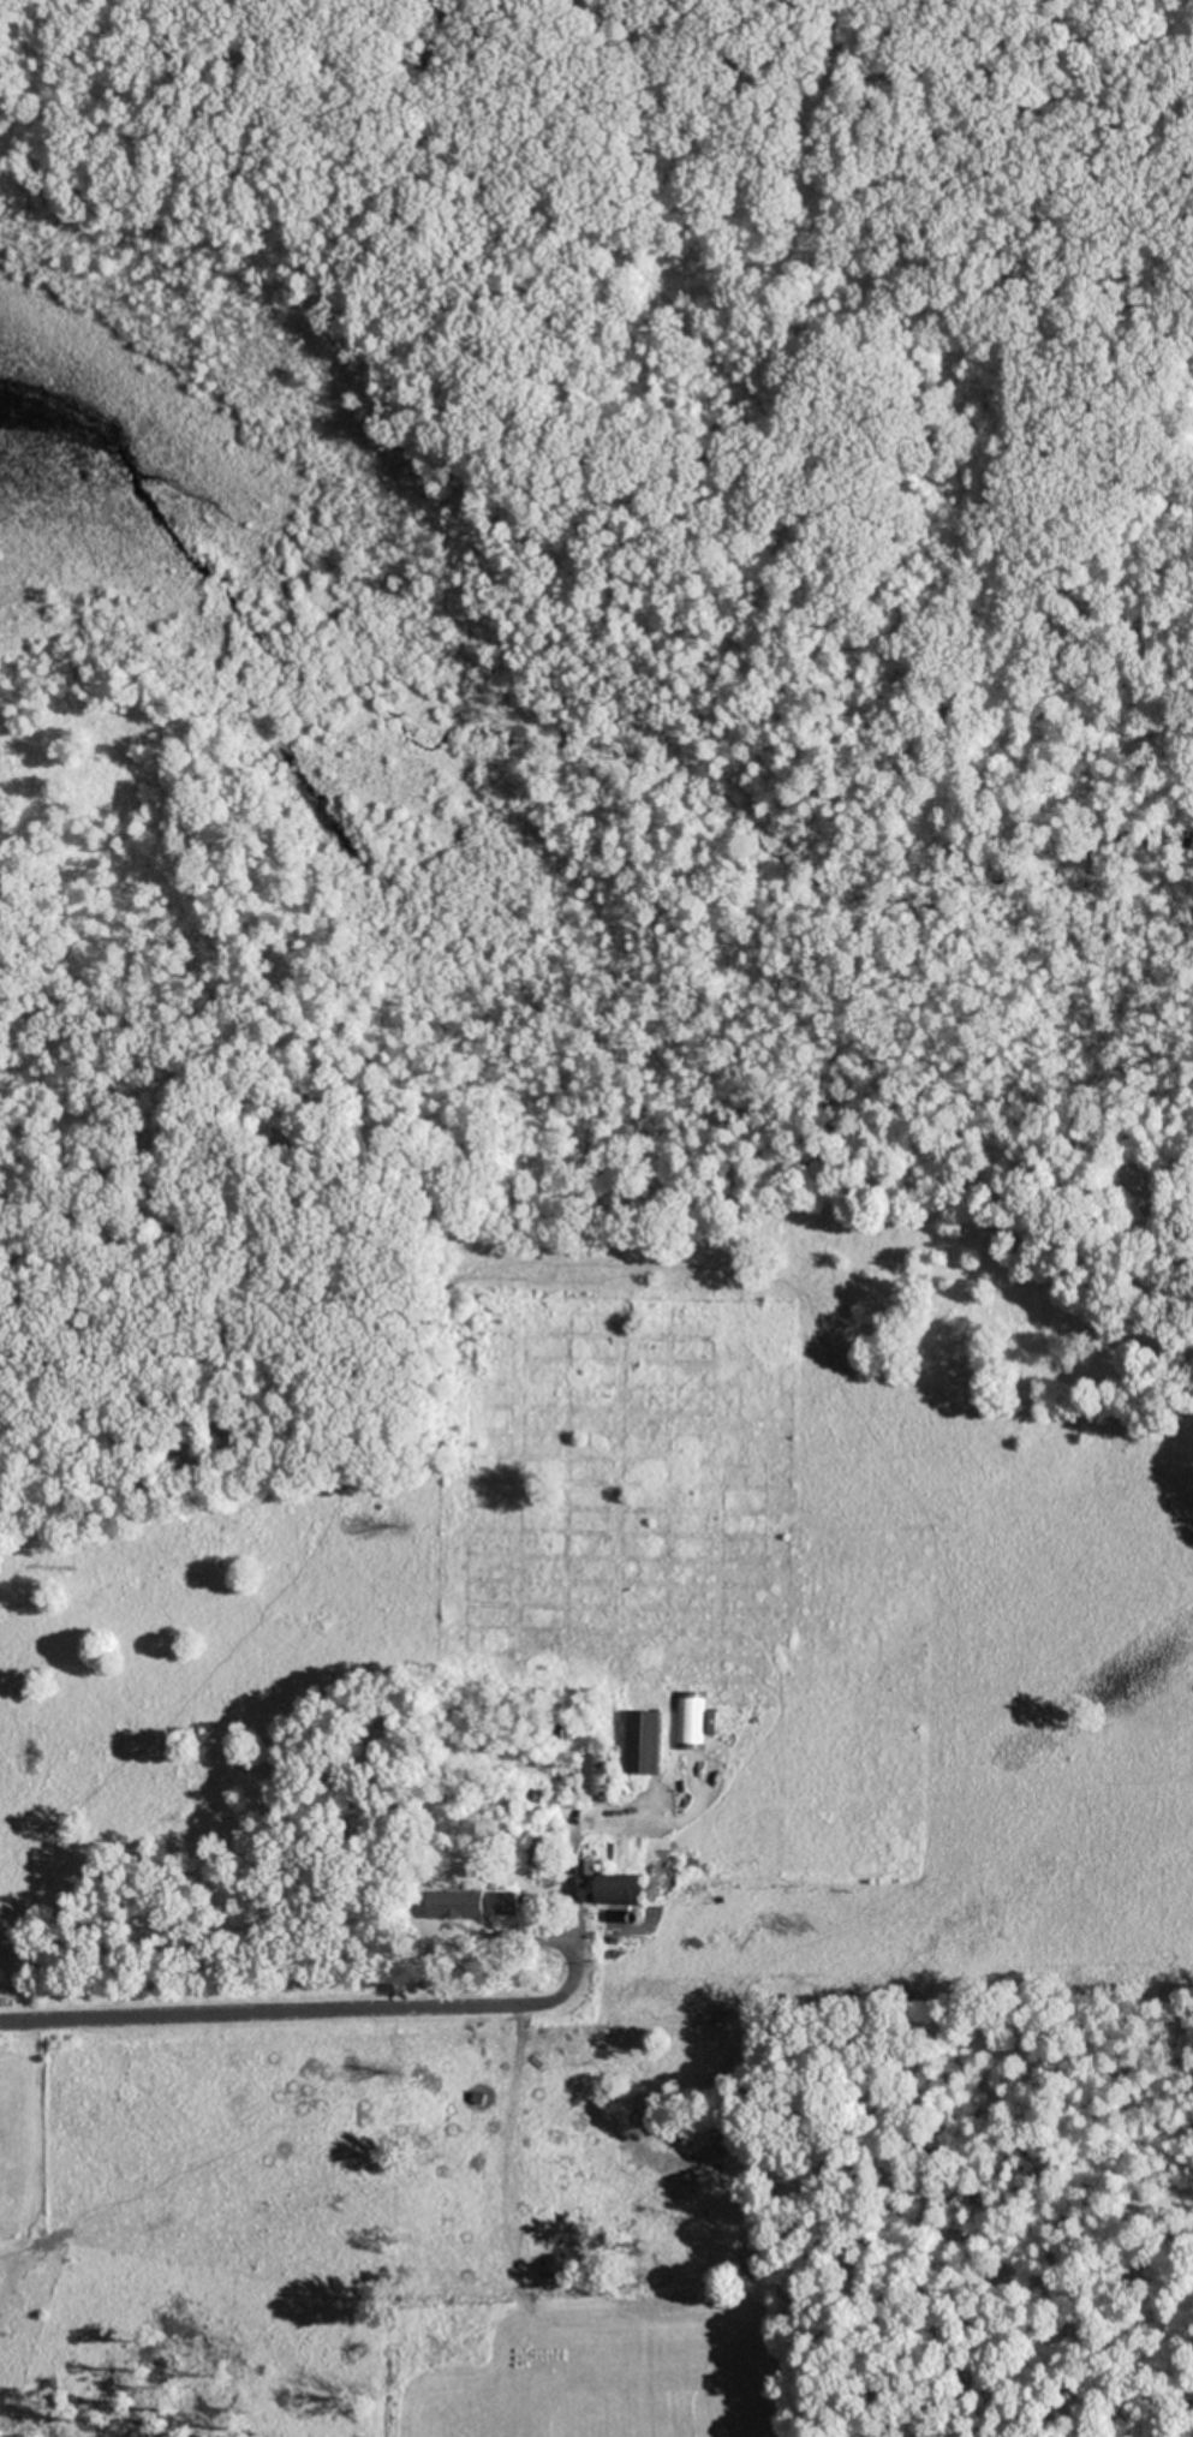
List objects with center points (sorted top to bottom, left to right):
building: (600, 1770)
building: (627, 1888)
road: (241, 2000)

